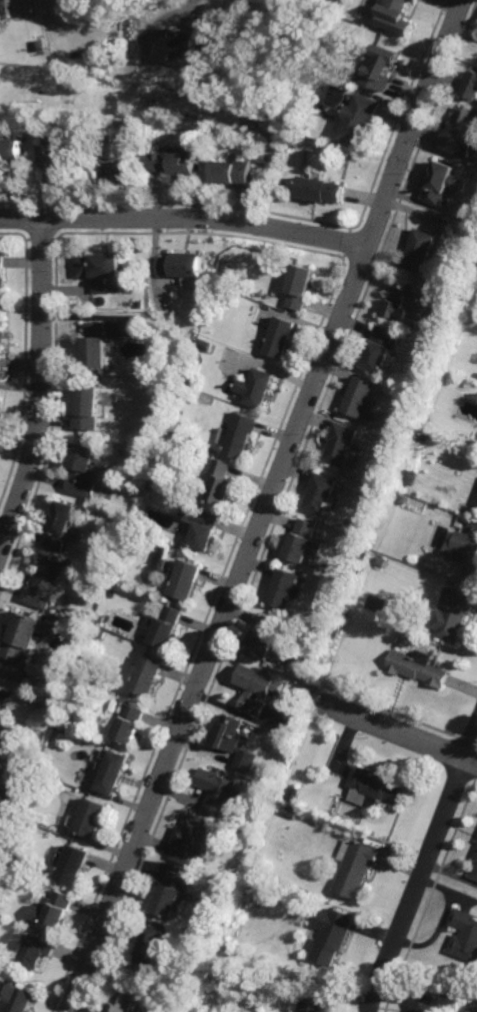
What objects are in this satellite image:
building: (413, 0)
road: (196, 5)
building: (394, 16)
building: (189, 41)
building: (38, 45)
building: (324, 62)
building: (379, 68)
building: (471, 86)
building: (360, 119)
building: (243, 126)
building: (462, 133)
building: (117, 142)
building: (10, 152)
building: (58, 163)
building: (175, 165)
building: (233, 174)
building: (472, 175)
building: (128, 176)
building: (15, 177)
building: (440, 183)
building: (321, 192)
road: (185, 217)
building: (419, 252)
building: (180, 266)
building: (97, 271)
building: (0, 272)
building: (467, 284)
building: (300, 287)
building: (462, 298)
building: (409, 304)
building: (137, 305)
building: (0, 318)
building: (279, 335)
building: (94, 343)
building: (380, 346)
building: (0, 350)
building: (205, 372)
road: (39, 386)
building: (255, 386)
building: (0, 391)
building: (361, 396)
building: (86, 405)
building: (425, 424)
building: (170, 427)
building: (240, 433)
building: (341, 443)
building: (81, 470)
building: (220, 481)
building: (148, 486)
building: (321, 493)
building: (400, 498)
road: (265, 506)
building: (58, 523)
building: (199, 525)
building: (302, 540)
building: (466, 553)
building: (117, 574)
building: (101, 577)
building: (184, 578)
building: (44, 581)
building: (347, 581)
building: (284, 588)
building: (112, 592)
building: (346, 592)
building: (453, 614)
building: (163, 626)
building: (99, 632)
building: (21, 636)
building: (263, 638)
building: (311, 642)
building: (328, 642)
building: (417, 667)
building: (146, 675)
building: (256, 689)
building: (4, 699)
building: (42, 704)
building: (128, 724)
building: (284, 729)
road: (400, 733)
building: (233, 742)
building: (112, 773)
building: (375, 787)
building: (270, 791)
building: (218, 793)
building: (292, 795)
building: (291, 813)
building: (90, 819)
building: (191, 841)
building: (74, 865)
road: (422, 868)
building: (474, 868)
building: (356, 870)
building: (231, 881)
building: (227, 889)
building: (169, 896)
building: (52, 912)
building: (465, 936)
building: (333, 938)
building: (151, 942)
building: (36, 953)
building: (242, 955)
building: (448, 993)
building: (18, 1001)
building: (122, 1002)
building: (422, 1003)
building: (312, 1006)

